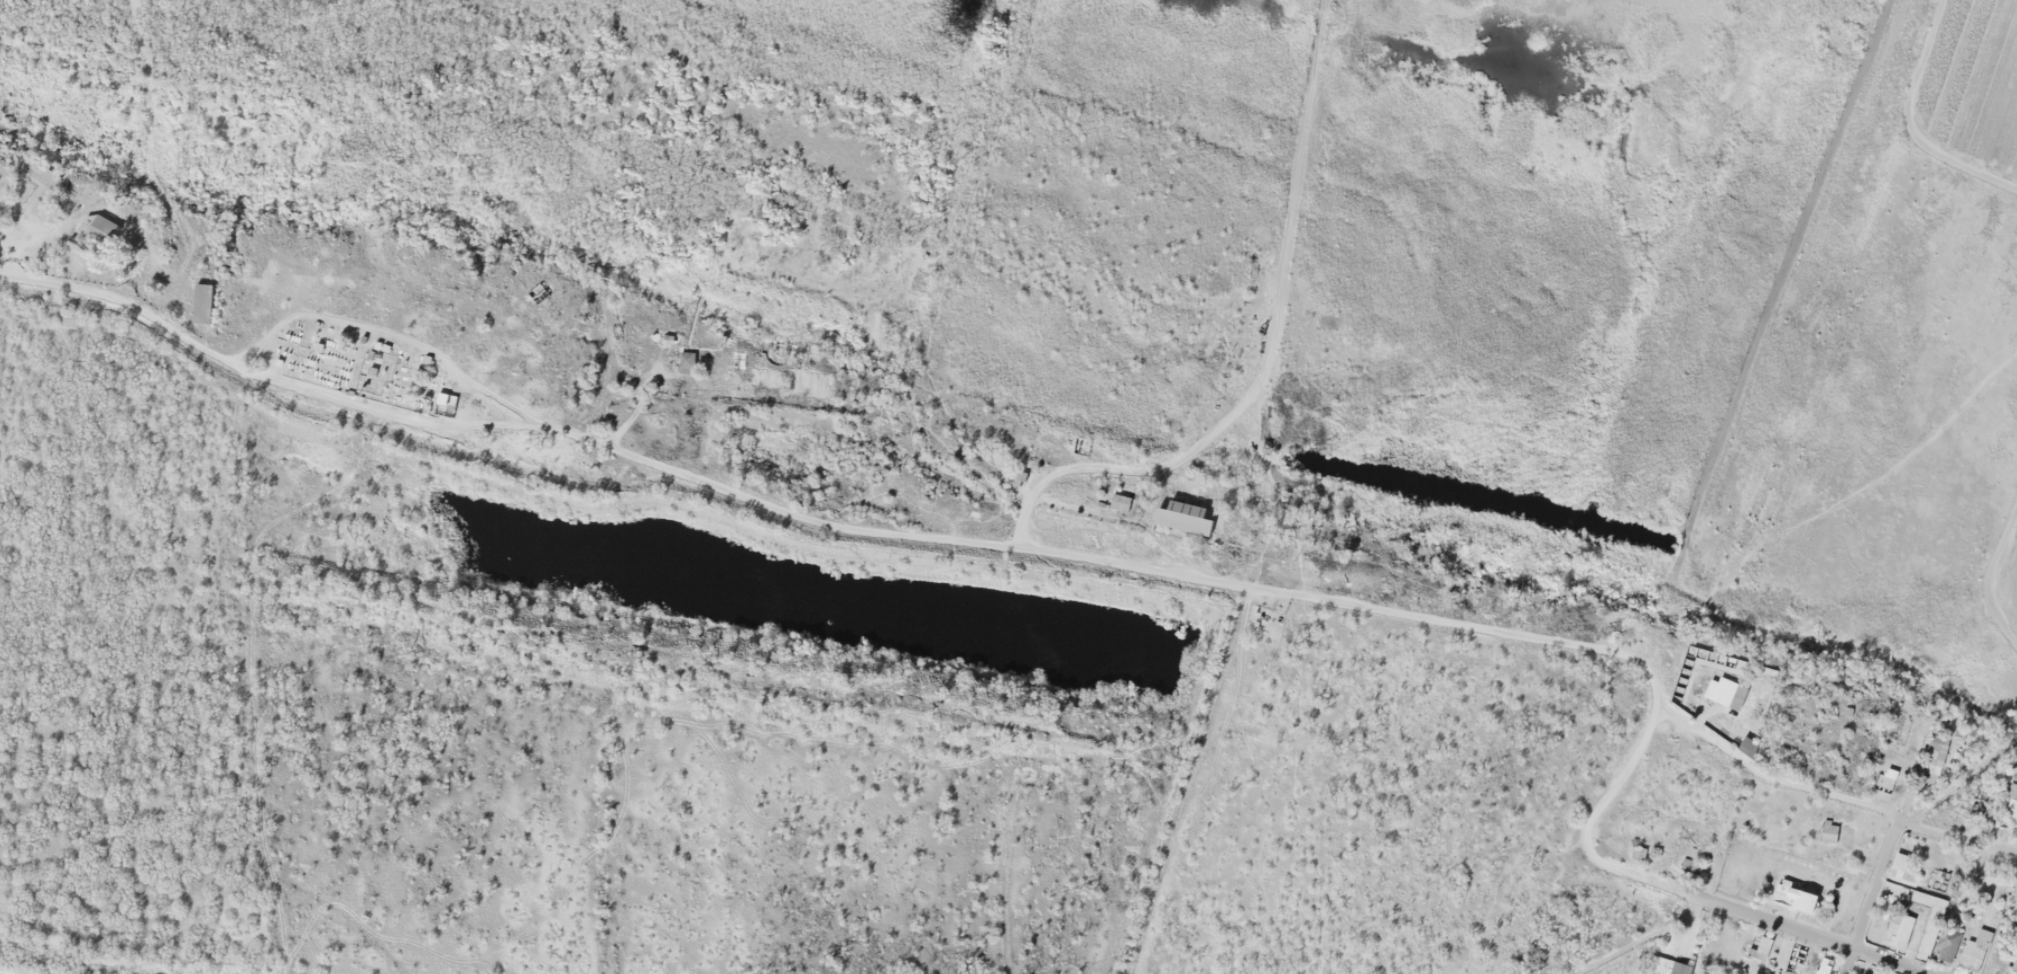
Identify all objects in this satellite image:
road: (1906, 126)
park: (356, 361)
road: (493, 395)
road: (810, 521)
road: (1986, 576)
road: (1652, 688)
road: (1617, 780)
road: (1961, 781)
road: (1826, 797)
road: (1871, 896)
road: (1753, 918)
road: (1641, 941)

